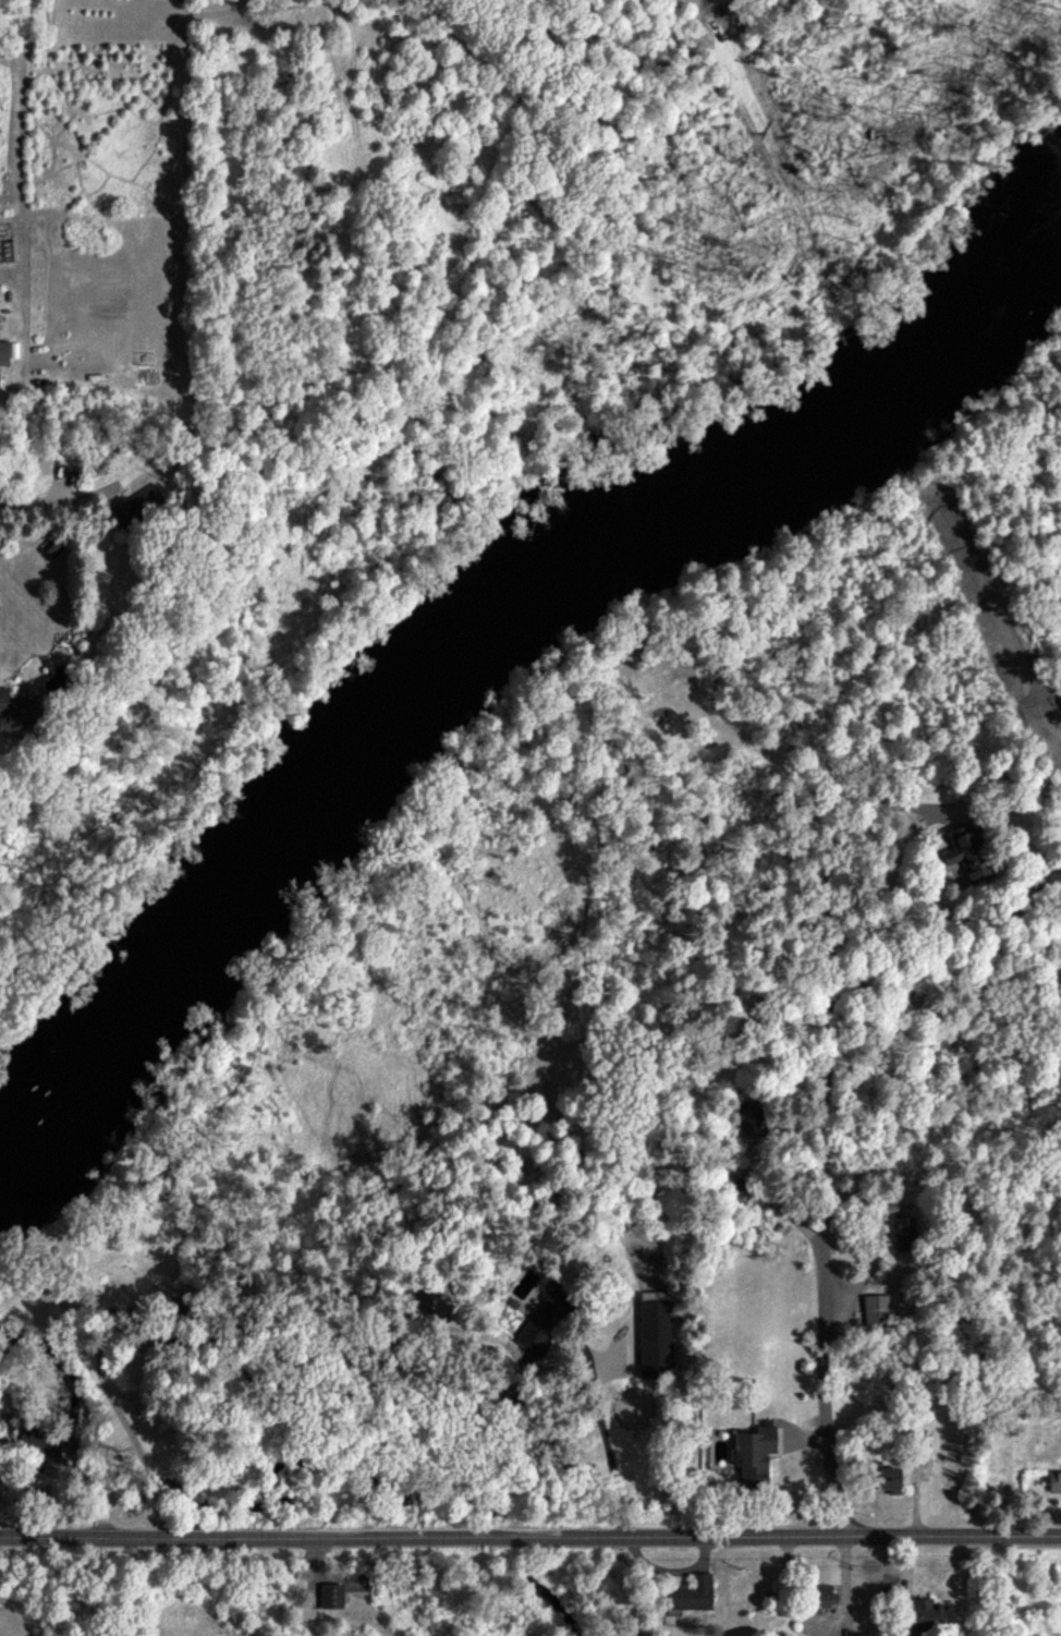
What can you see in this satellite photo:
road: (209, 14)
building: (4, 352)
building: (139, 506)
road: (61, 510)
river: (490, 621)
building: (16, 712)
building: (965, 851)
building: (1049, 881)
building: (751, 1122)
road: (824, 1162)
building: (732, 1187)
building: (904, 1233)
road: (869, 1269)
building: (877, 1310)
building: (545, 1320)
building: (655, 1338)
building: (3, 1409)
road: (603, 1438)
road: (132, 1439)
building: (38, 1443)
building: (753, 1453)
building: (886, 1477)
building: (1054, 1481)
road: (530, 1539)
building: (331, 1595)
building: (691, 1595)
building: (821, 1597)
building: (927, 1613)

